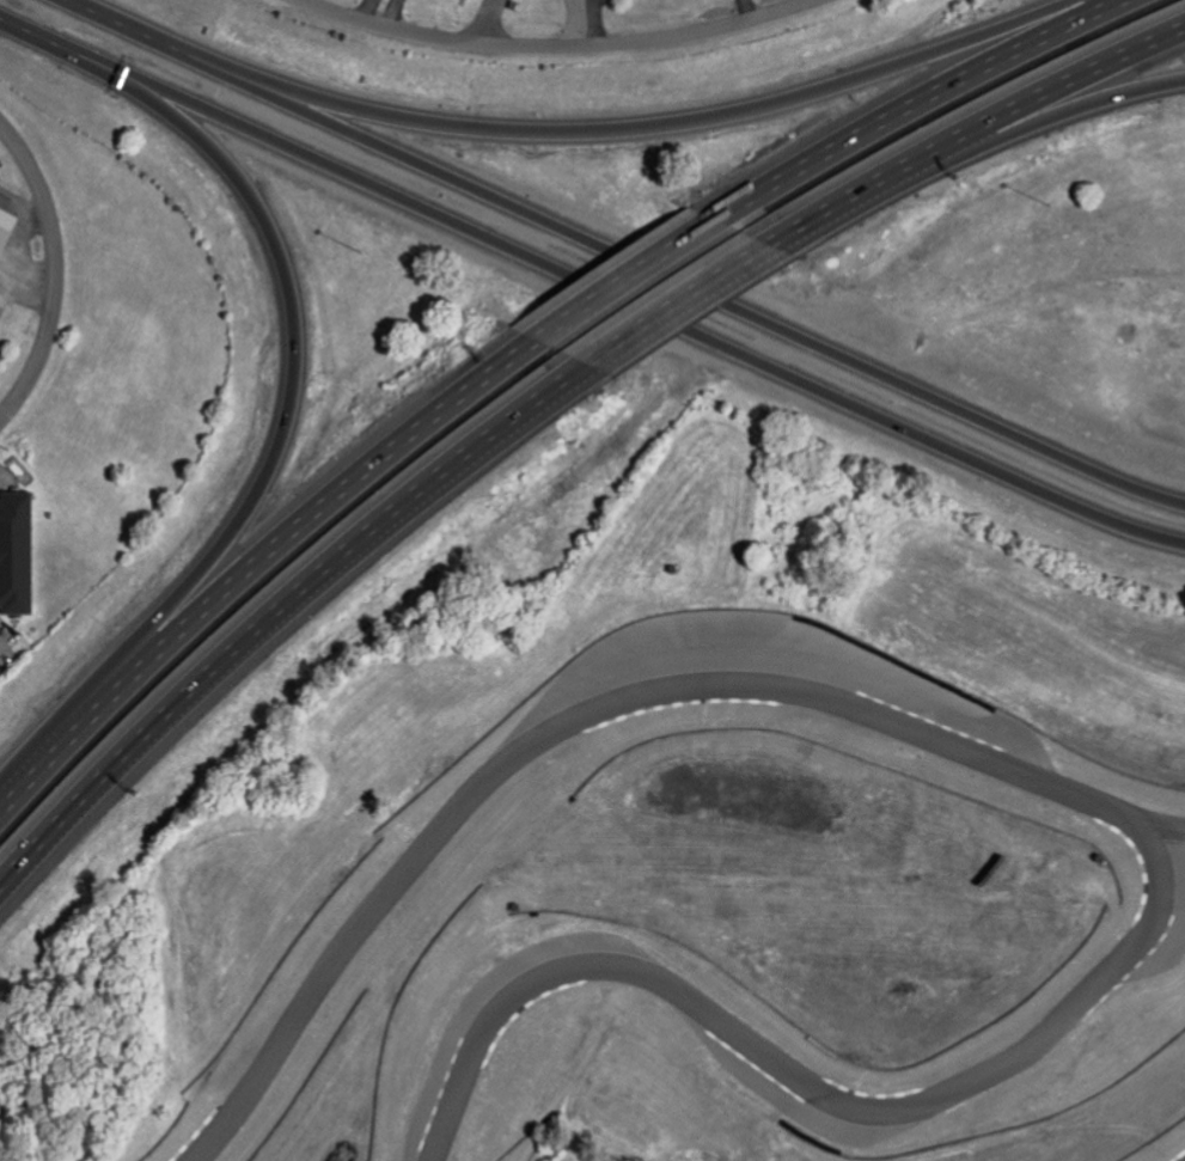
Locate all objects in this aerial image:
road: (367, 10)
road: (747, 10)
road: (75, 11)
road: (392, 13)
road: (484, 22)
road: (592, 23)
road: (54, 38)
road: (562, 47)
road: (909, 104)
road: (587, 126)
road: (981, 139)
road: (1008, 139)
building: (4, 221)
road: (640, 267)
road: (625, 271)
road: (54, 273)
road: (702, 305)
road: (643, 311)
road: (279, 441)
road: (259, 544)
building: (14, 552)
road: (293, 615)
raceway: (593, 695)
raceway: (800, 1090)
raceway: (1184, 1160)

